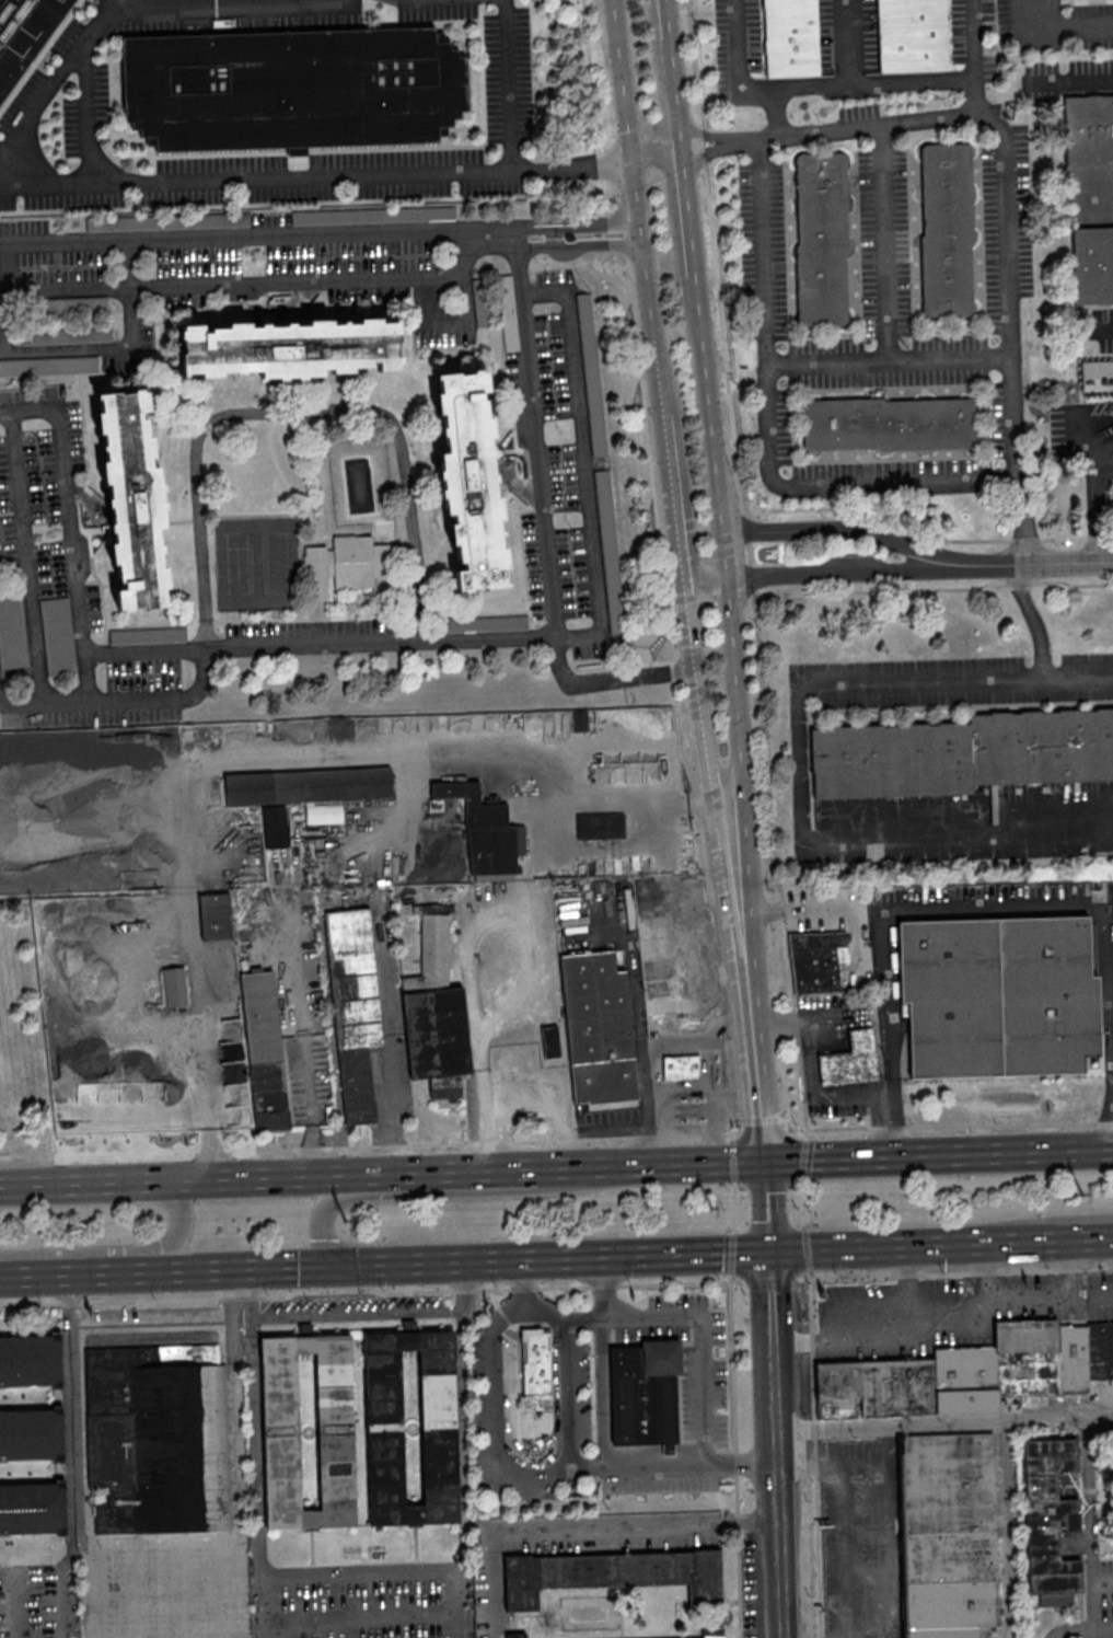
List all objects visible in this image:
road: (108, 7)
road: (132, 12)
road: (668, 19)
road: (1055, 24)
building: (24, 34)
building: (912, 35)
building: (791, 37)
road: (970, 56)
road: (738, 77)
road: (1070, 79)
road: (913, 80)
road: (854, 83)
building: (292, 86)
road: (89, 111)
road: (677, 113)
building: (1088, 128)
road: (665, 160)
road: (571, 163)
road: (339, 174)
road: (1004, 180)
road: (1109, 196)
road: (637, 206)
building: (373, 215)
road: (608, 221)
road: (545, 224)
building: (947, 229)
road: (689, 230)
road: (260, 234)
building: (822, 239)
road: (882, 241)
road: (578, 244)
building: (1092, 263)
road: (251, 282)
road: (10, 297)
road: (1109, 327)
building: (292, 346)
road: (117, 347)
road: (886, 359)
building: (592, 374)
building: (888, 423)
road: (762, 434)
road: (535, 437)
road: (583, 460)
road: (669, 473)
building: (471, 480)
building: (132, 499)
road: (1094, 503)
road: (721, 527)
road: (844, 528)
road: (70, 530)
building: (610, 551)
road: (26, 558)
road: (1036, 561)
building: (346, 565)
road: (689, 569)
road: (844, 574)
road: (1032, 616)
building: (12, 628)
building: (58, 636)
road: (259, 646)
road: (143, 651)
road: (689, 661)
road: (610, 679)
road: (758, 717)
building: (961, 753)
road: (799, 765)
building: (308, 785)
road: (724, 788)
building: (323, 812)
road: (544, 815)
building: (600, 826)
building: (486, 832)
road: (944, 907)
road: (826, 909)
building: (216, 914)
road: (469, 949)
building: (818, 959)
road: (744, 977)
building: (174, 985)
building: (1000, 996)
building: (351, 1006)
building: (436, 1007)
building: (595, 1028)
road: (304, 1030)
building: (550, 1040)
road: (389, 1048)
building: (263, 1051)
road: (654, 1056)
building: (850, 1059)
building: (101, 1062)
building: (679, 1066)
building: (183, 1083)
road: (734, 1098)
road: (712, 1099)
road: (547, 1107)
building: (689, 1109)
road: (938, 1153)
traffic signals: (764, 1160)
road: (646, 1164)
road: (454, 1170)
road: (800, 1170)
road: (731, 1173)
road: (190, 1179)
power tower: (1081, 1191)
road: (455, 1192)
road: (765, 1206)
road: (801, 1206)
power tower: (710, 1207)
road: (732, 1209)
road: (1052, 1216)
power tower: (346, 1219)
road: (1024, 1239)
road: (851, 1246)
road: (804, 1249)
road: (116, 1250)
traffic signals: (766, 1251)
road: (728, 1253)
road: (549, 1258)
traffic signals: (324, 1266)
road: (242, 1270)
road: (953, 1272)
road: (987, 1272)
road: (74, 1273)
road: (766, 1279)
road: (463, 1280)
road: (680, 1282)
road: (519, 1284)
road: (603, 1284)
road: (292, 1292)
road: (1099, 1295)
road: (1022, 1304)
road: (524, 1311)
road: (336, 1314)
road: (583, 1317)
building: (305, 1328)
road: (886, 1338)
road: (695, 1341)
road: (810, 1345)
building: (1099, 1349)
building: (1023, 1357)
building: (1070, 1359)
road: (602, 1360)
building: (28, 1362)
road: (729, 1362)
building: (533, 1363)
building: (962, 1380)
building: (871, 1387)
road: (568, 1392)
building: (641, 1394)
road: (943, 1424)
road: (66, 1427)
building: (408, 1428)
road: (813, 1430)
building: (304, 1432)
building: (30, 1434)
building: (154, 1438)
road: (495, 1439)
road: (774, 1444)
road: (532, 1446)
road: (732, 1462)
road: (737, 1462)
road: (634, 1463)
road: (462, 1474)
road: (254, 1477)
building: (31, 1509)
road: (842, 1519)
building: (1046, 1520)
road: (582, 1530)
road: (879, 1530)
road: (1005, 1530)
building: (946, 1534)
road: (161, 1535)
road: (815, 1538)
building: (356, 1555)
road: (734, 1556)
road: (358, 1573)
building: (610, 1574)
road: (58, 1577)
road: (359, 1612)
building: (709, 1633)
building: (512, 1636)

